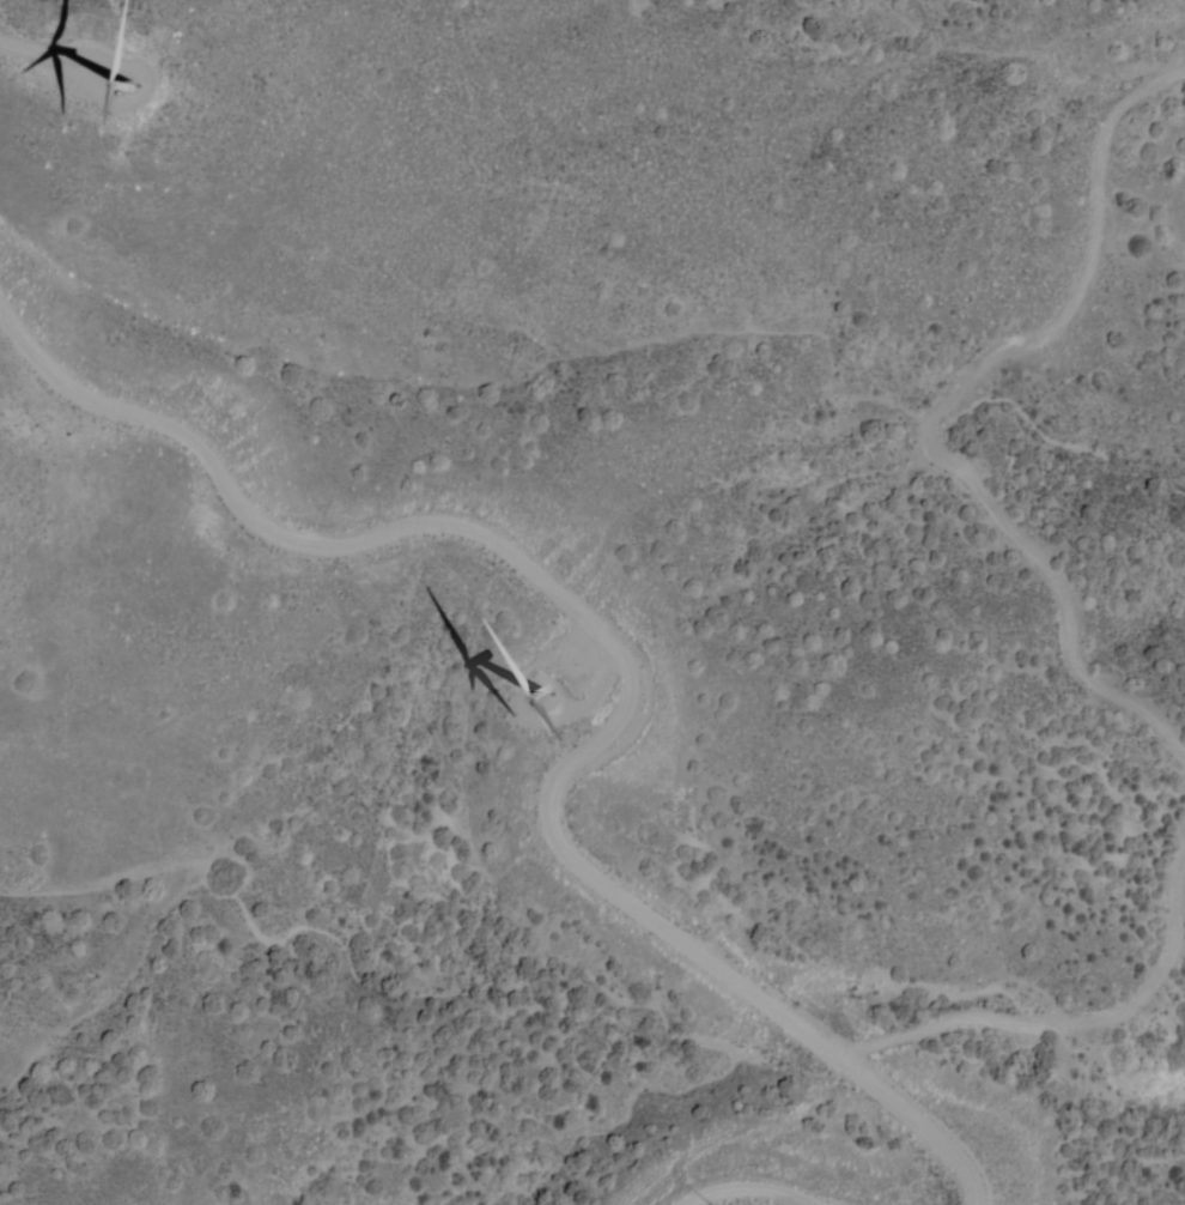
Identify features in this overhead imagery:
wind turbine: (130, 61)
road: (946, 407)
road: (620, 658)
wind turbine: (557, 685)
road: (1055, 1023)
road: (746, 1183)

